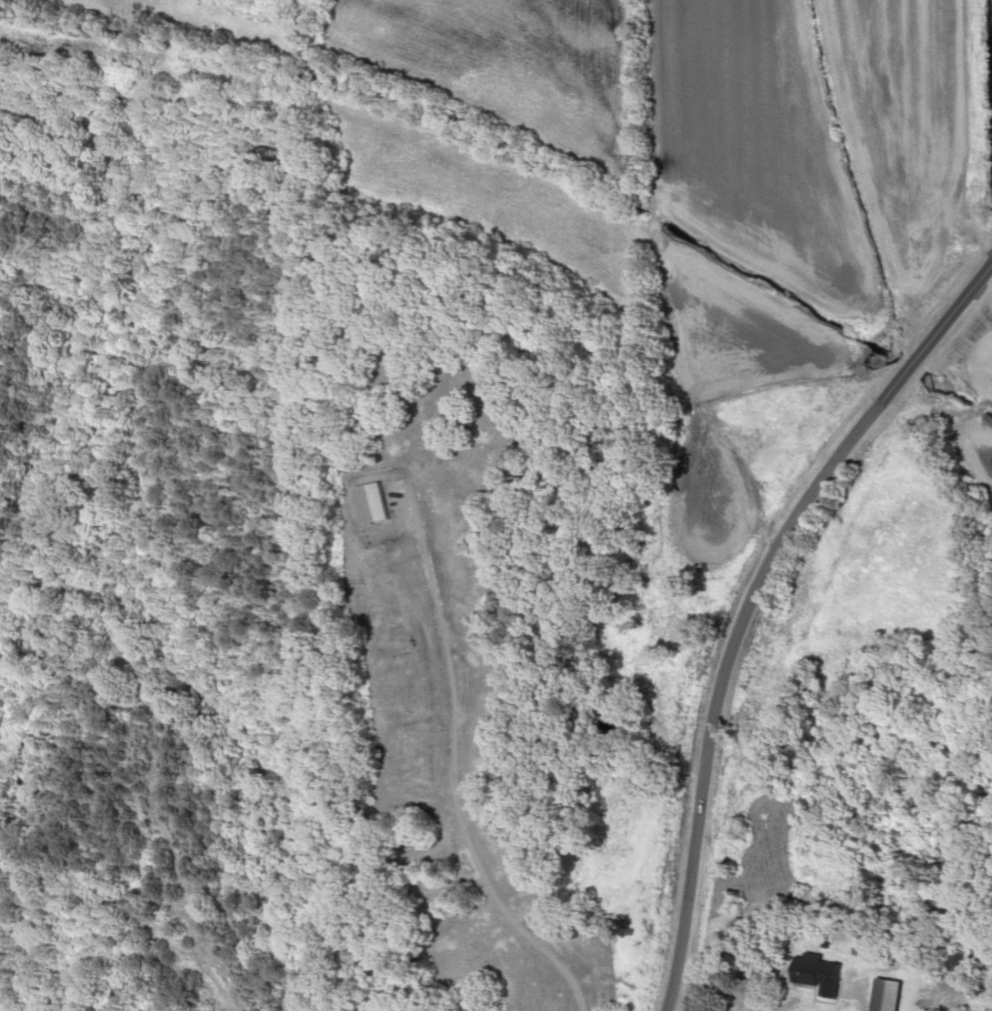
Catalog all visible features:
road: (731, 606)
road: (468, 798)
building: (817, 953)
building: (895, 995)

